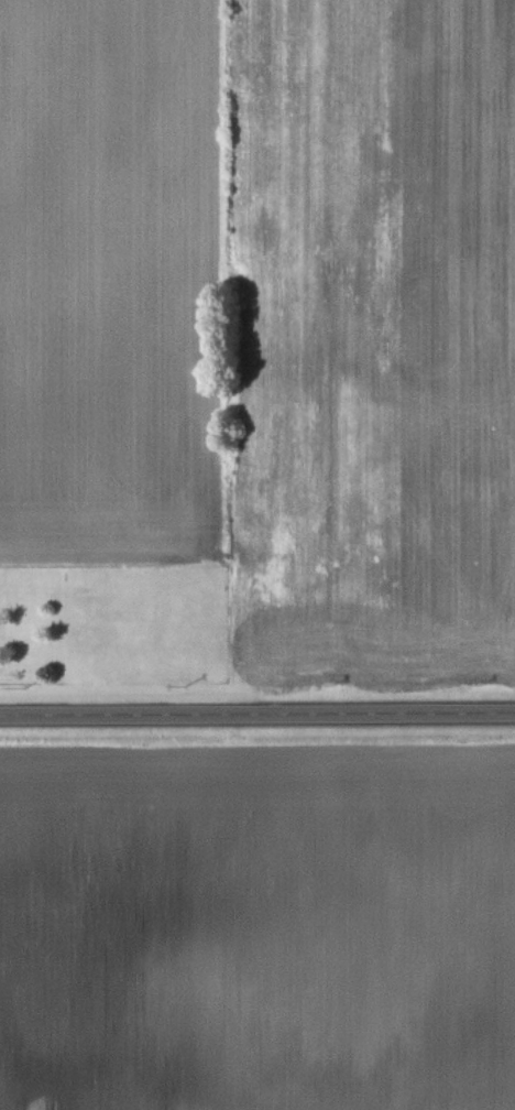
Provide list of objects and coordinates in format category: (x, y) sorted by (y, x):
road: (257, 715)

